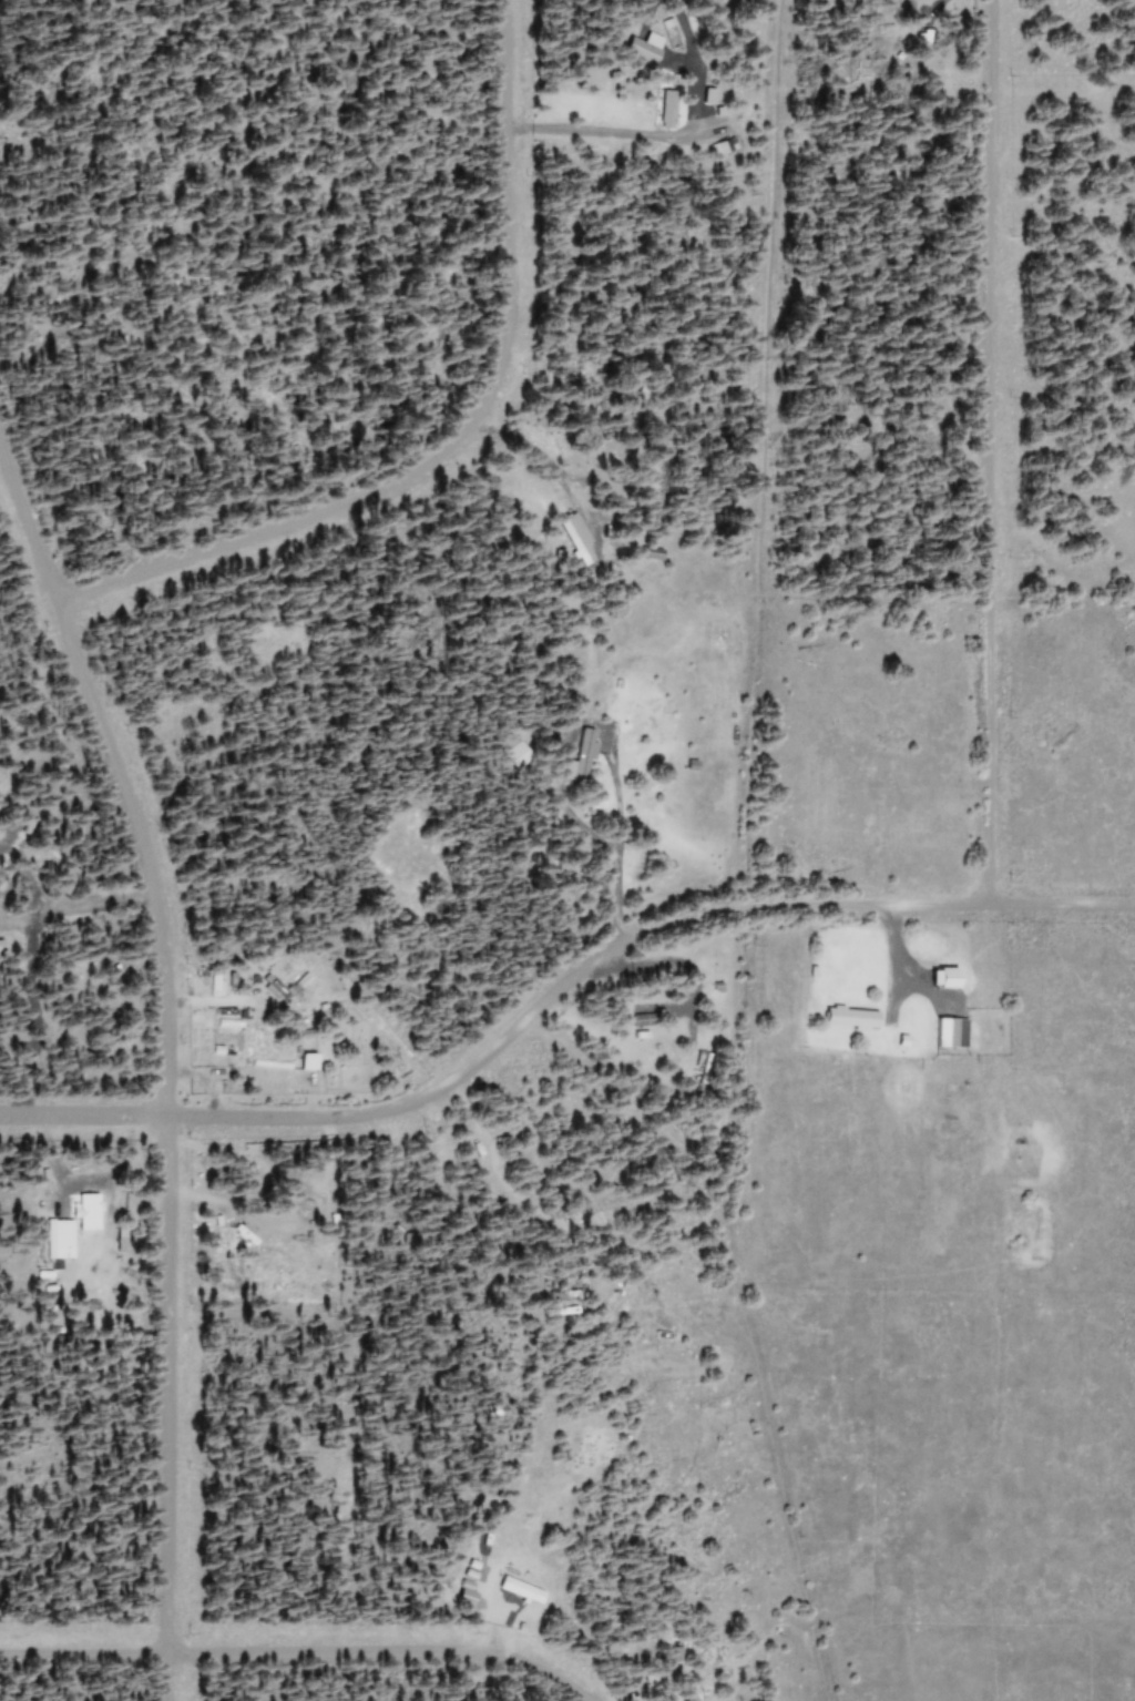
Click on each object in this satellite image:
building: (637, 47)
building: (703, 95)
building: (662, 109)
building: (723, 145)
road: (462, 431)
road: (984, 450)
building: (575, 757)
road: (620, 838)
building: (940, 977)
building: (212, 985)
road: (555, 985)
building: (268, 987)
building: (846, 1017)
building: (947, 1032)
building: (303, 1061)
road: (163, 1063)
building: (65, 1225)
building: (515, 1589)
road: (380, 1651)
road: (82, 1652)

